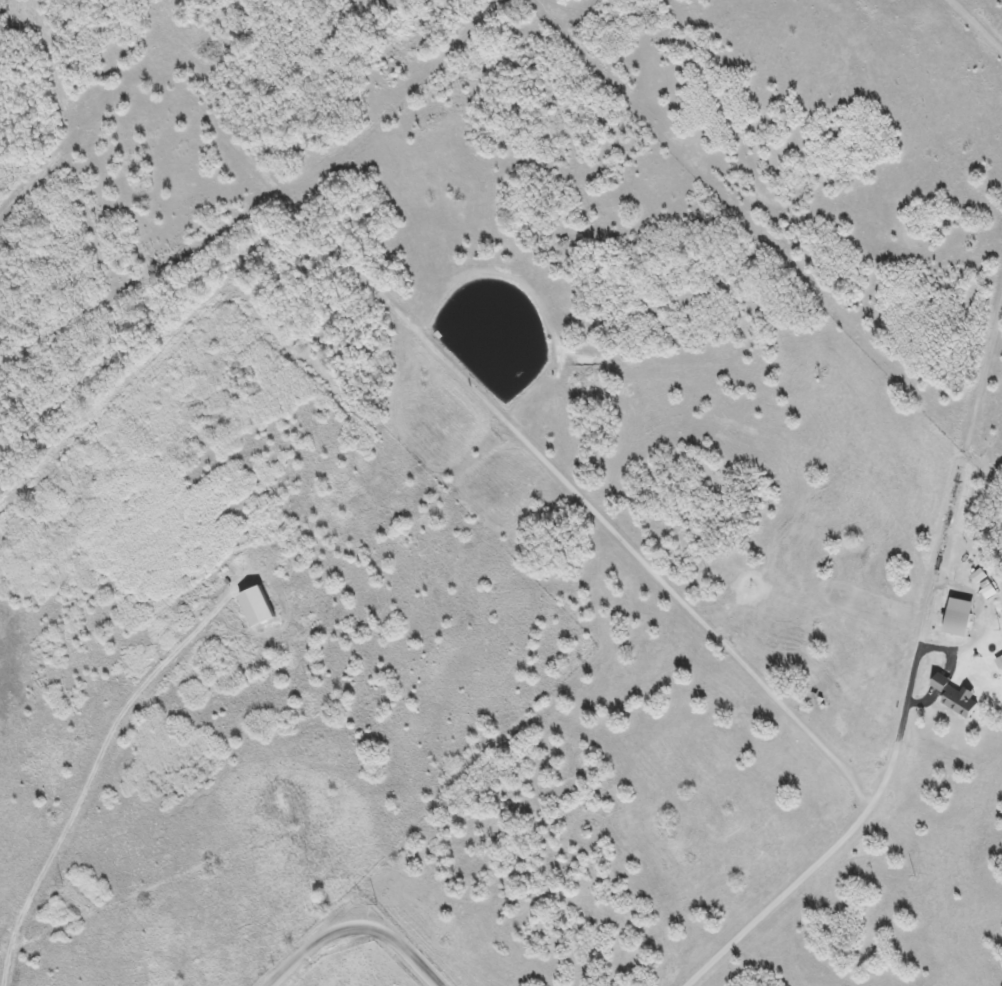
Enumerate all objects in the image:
building: (979, 575)
building: (989, 591)
building: (257, 605)
building: (958, 617)
building: (999, 661)
building: (956, 696)
road: (845, 836)
road: (626, 880)
road: (360, 924)

